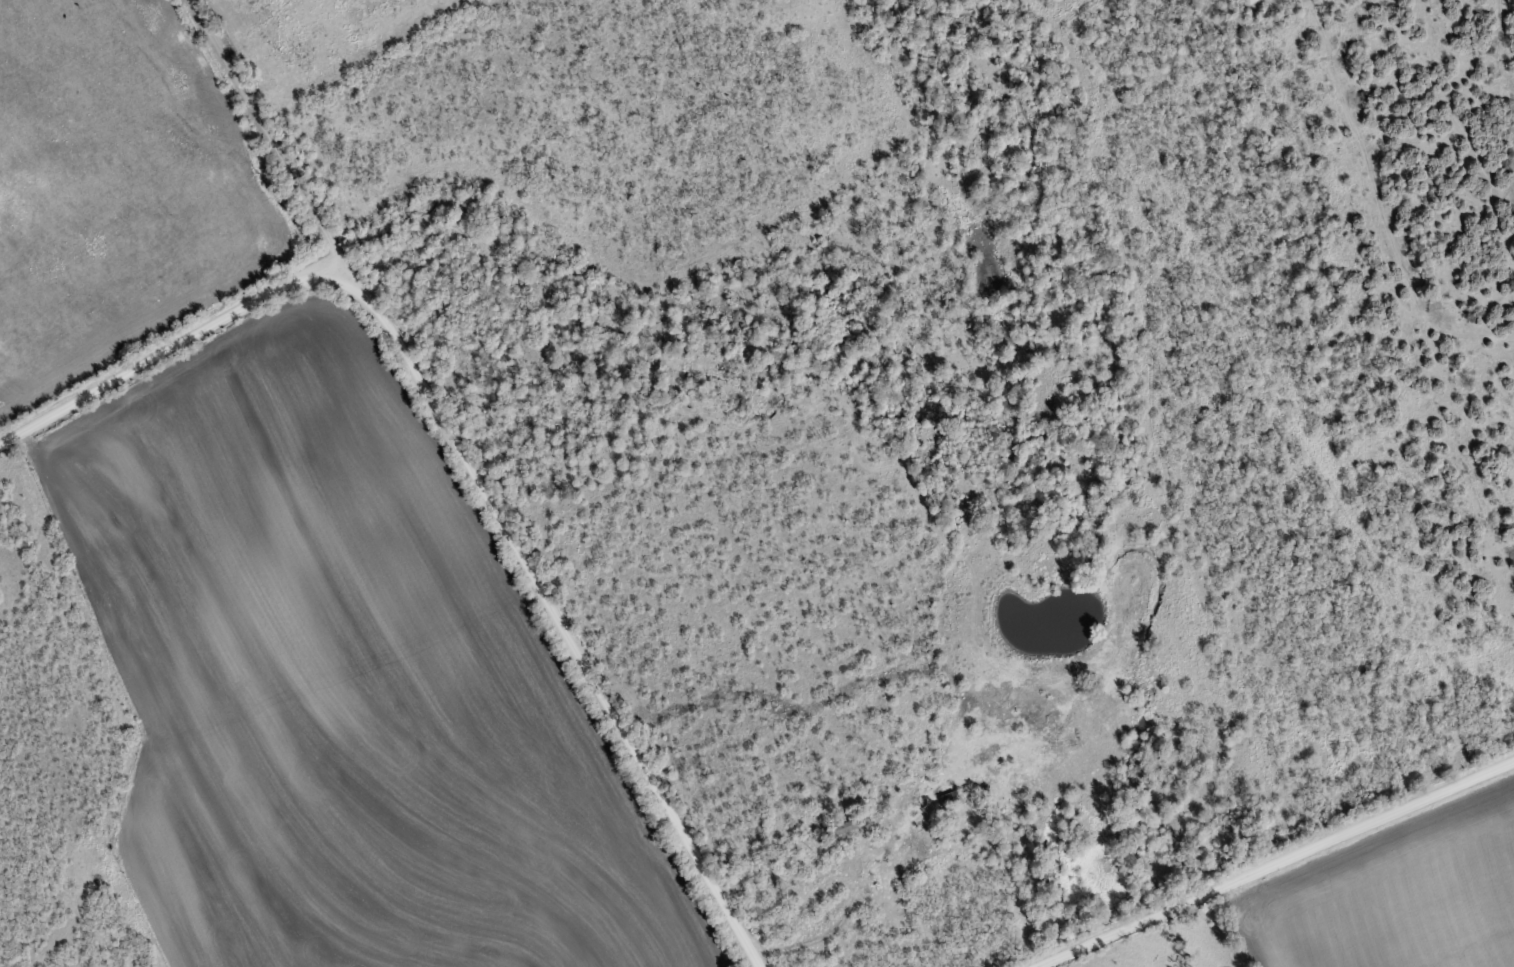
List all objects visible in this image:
road: (276, 146)
building: (12, 156)
road: (459, 451)
building: (852, 824)
road: (1267, 858)

